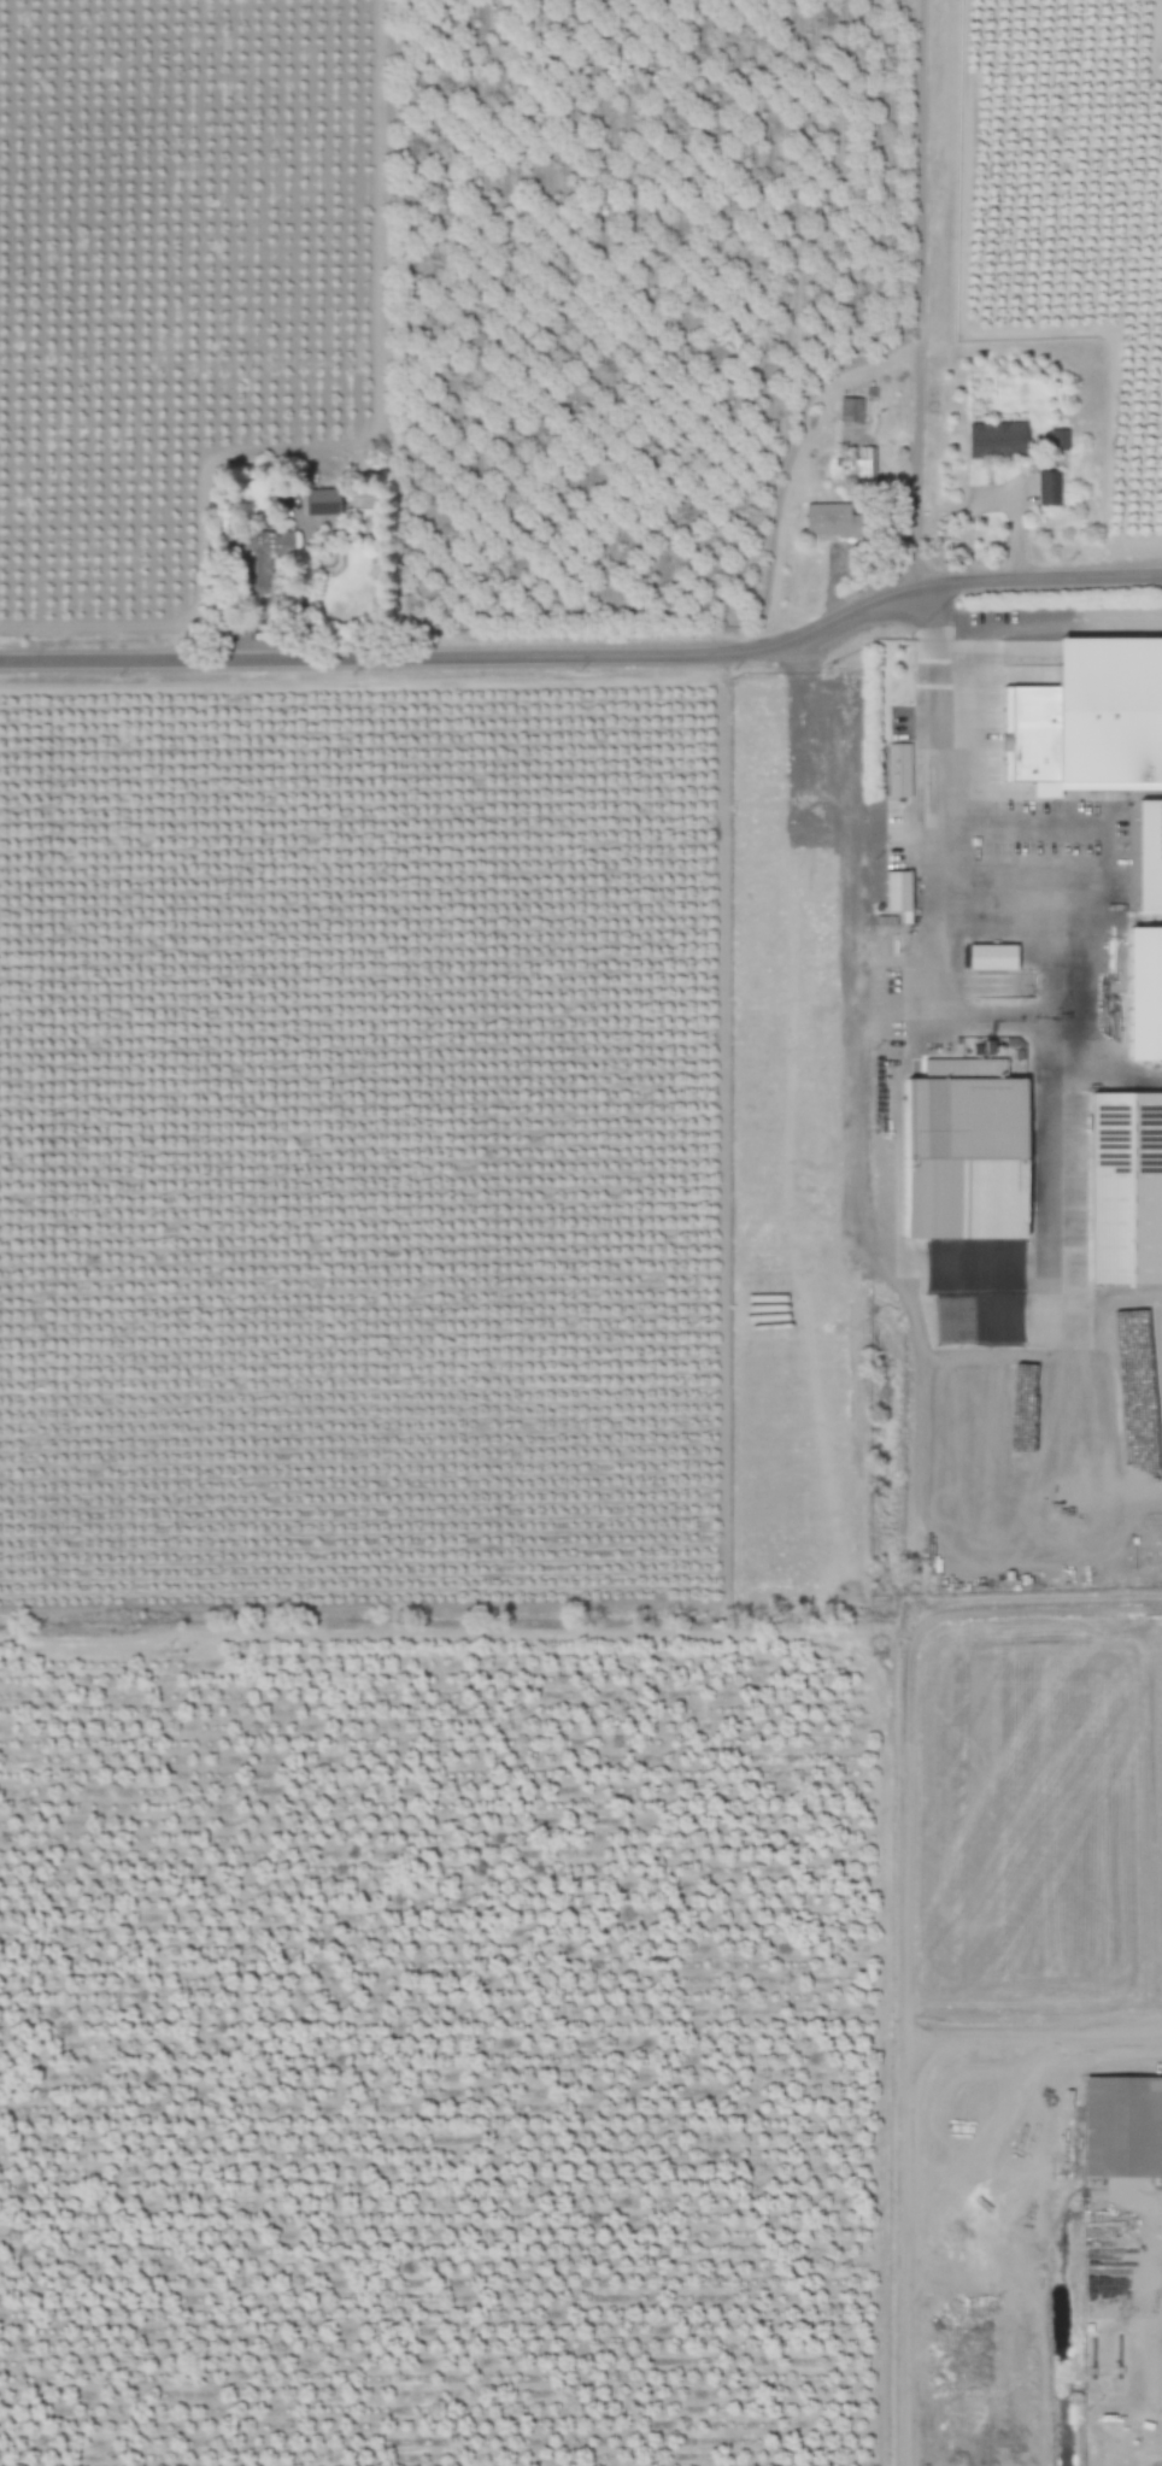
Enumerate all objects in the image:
road: (916, 289)
building: (851, 410)
building: (998, 440)
building: (1058, 440)
building: (859, 466)
building: (1049, 488)
building: (322, 501)
building: (829, 519)
building: (262, 559)
road: (591, 652)
building: (1091, 721)
building: (899, 770)
building: (1151, 857)
building: (899, 892)
building: (993, 957)
building: (1146, 994)
building: (967, 1157)
building: (1128, 1190)
railway: (941, 1232)
road: (912, 1428)
building: (1123, 2126)

